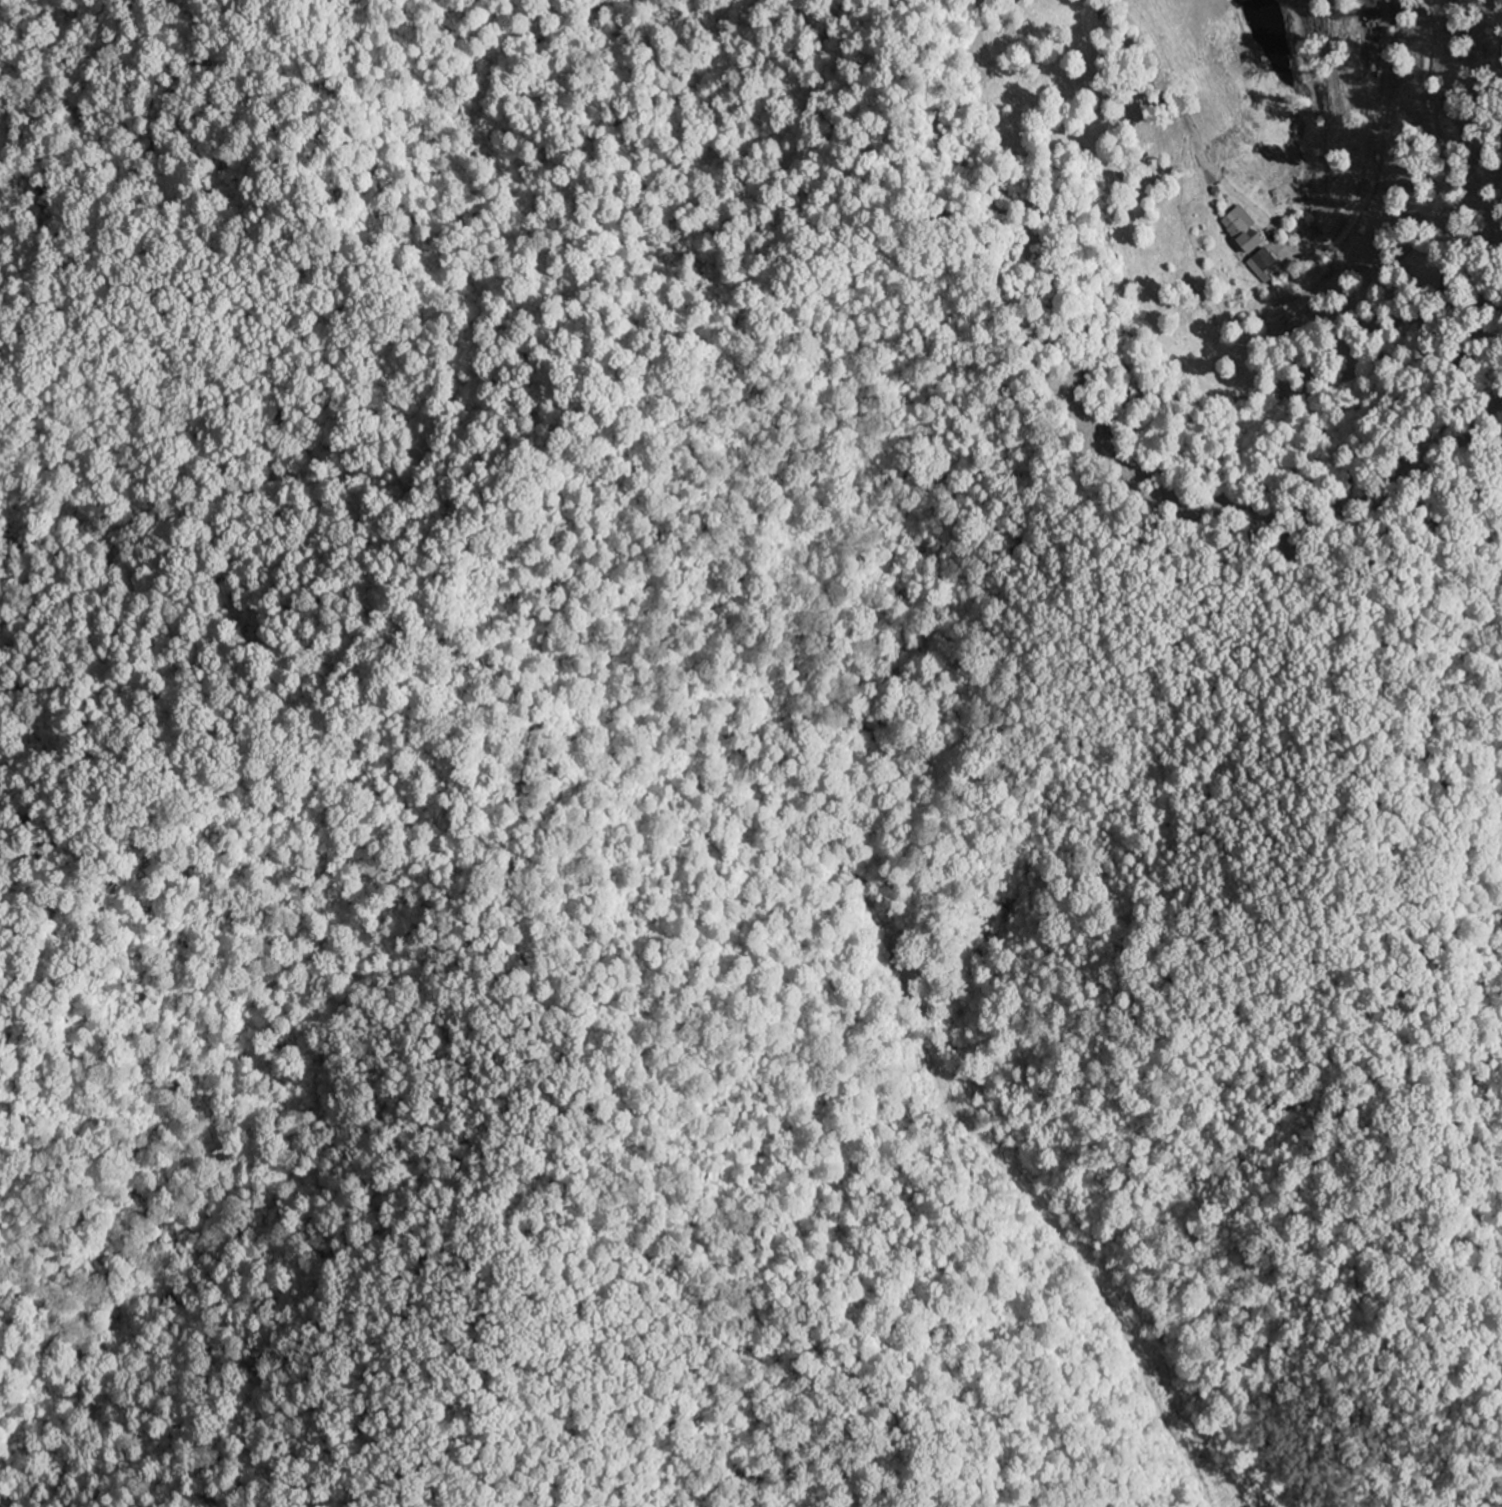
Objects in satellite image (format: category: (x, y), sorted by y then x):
road: (1369, 144)
building: (1261, 245)

